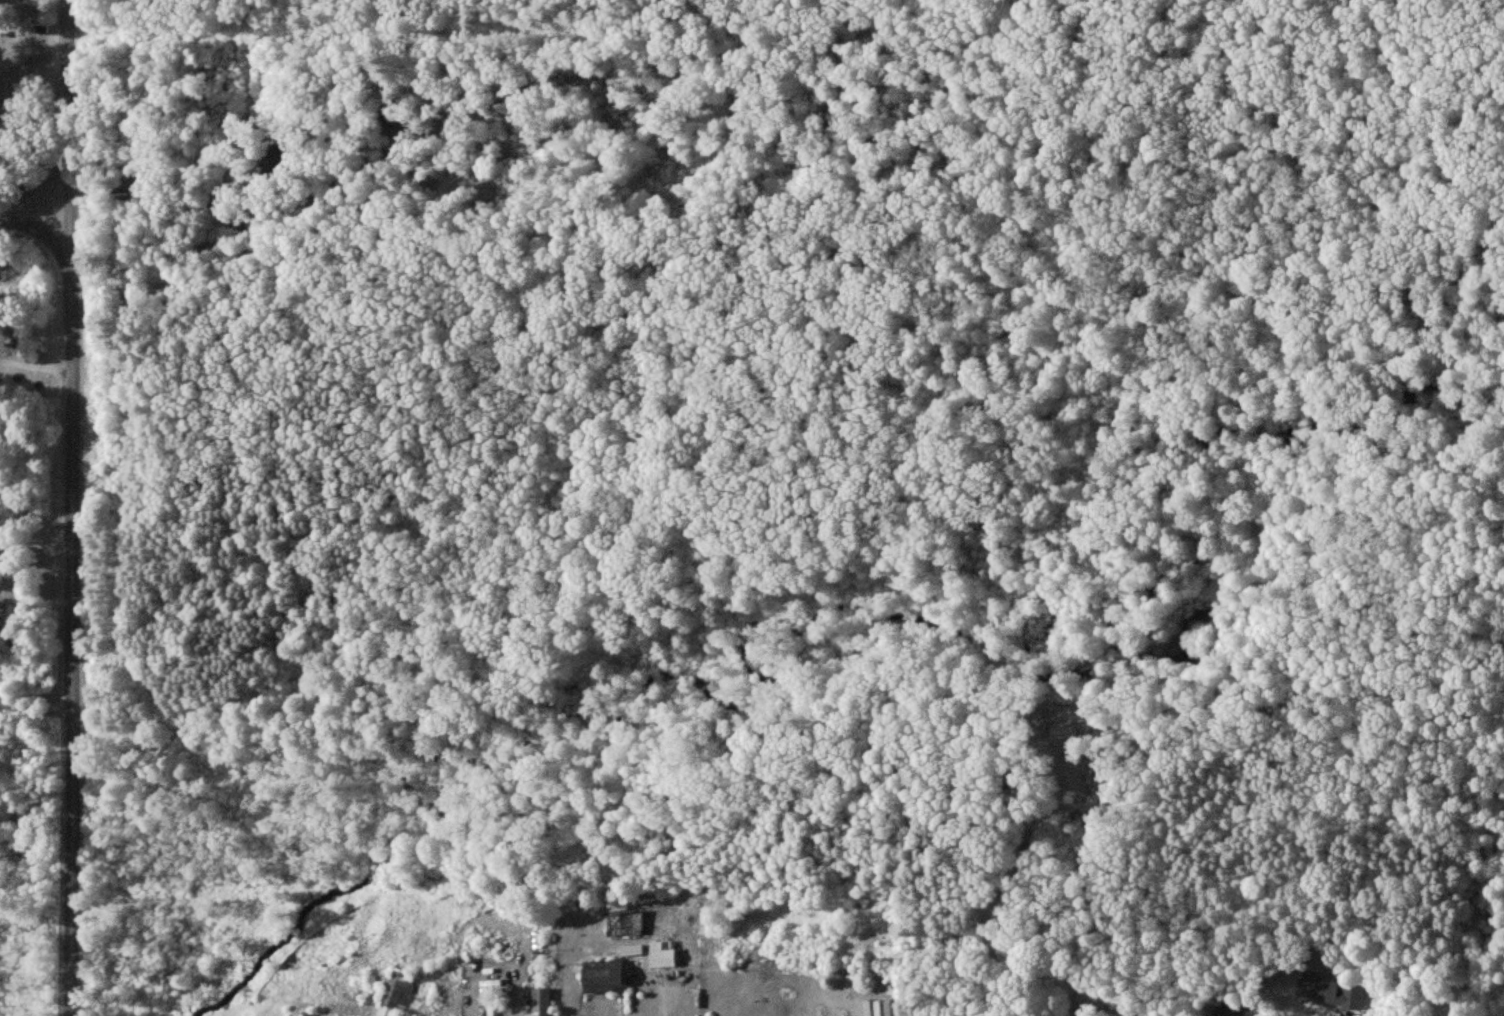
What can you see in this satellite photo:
road: (316, 47)
park: (28, 101)
road: (36, 225)
road: (167, 227)
road: (35, 367)
road: (71, 507)
road: (35, 691)
building: (630, 949)
building: (660, 955)
building: (602, 977)
building: (396, 992)
building: (1331, 993)
building: (539, 1002)
building: (1232, 1010)

